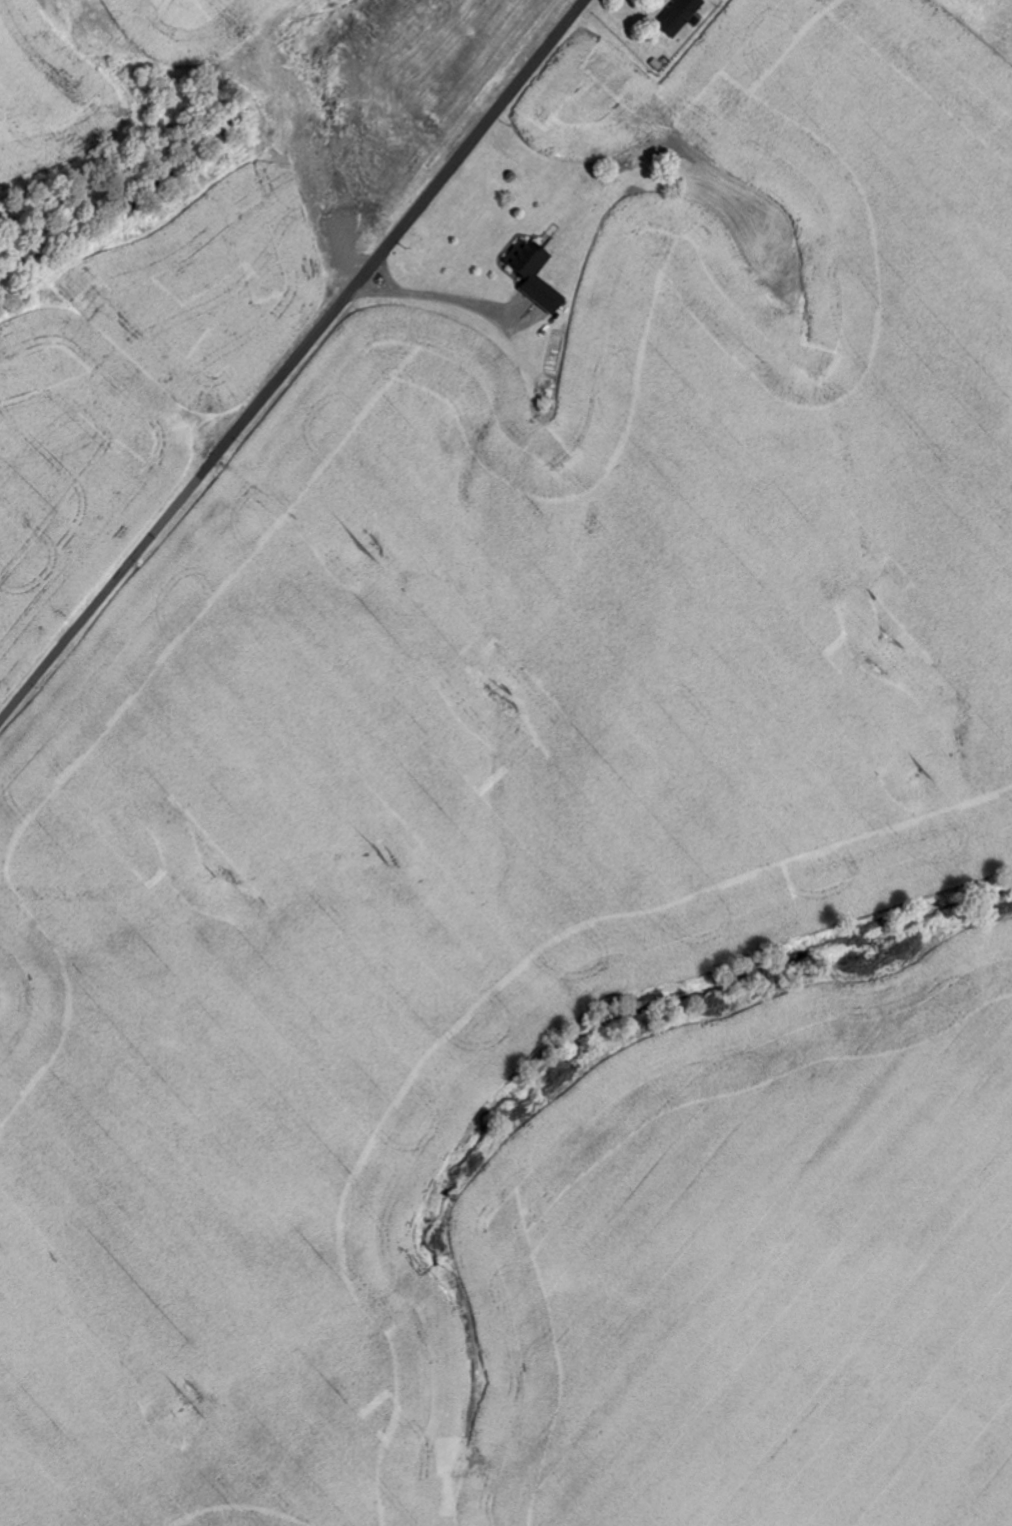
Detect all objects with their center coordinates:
building: (683, 16)
building: (548, 295)
road: (295, 361)

